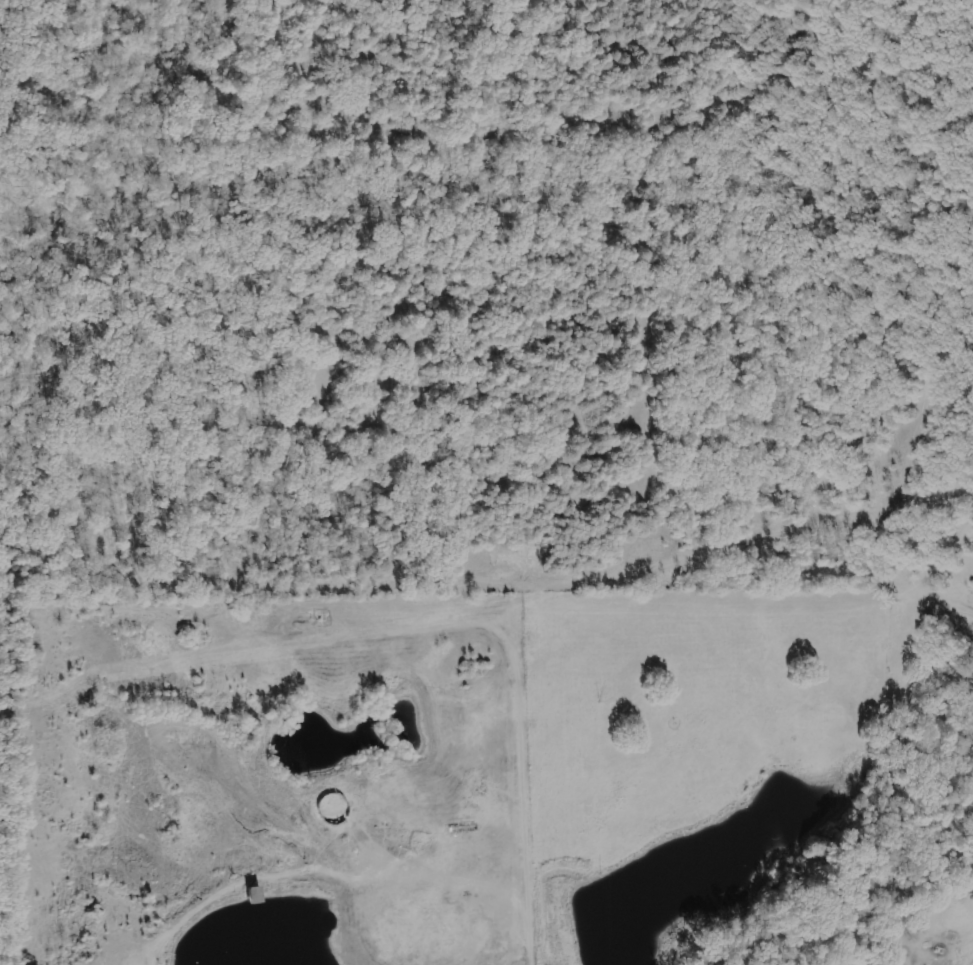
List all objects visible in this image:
park: (439, 297)
road: (526, 819)

